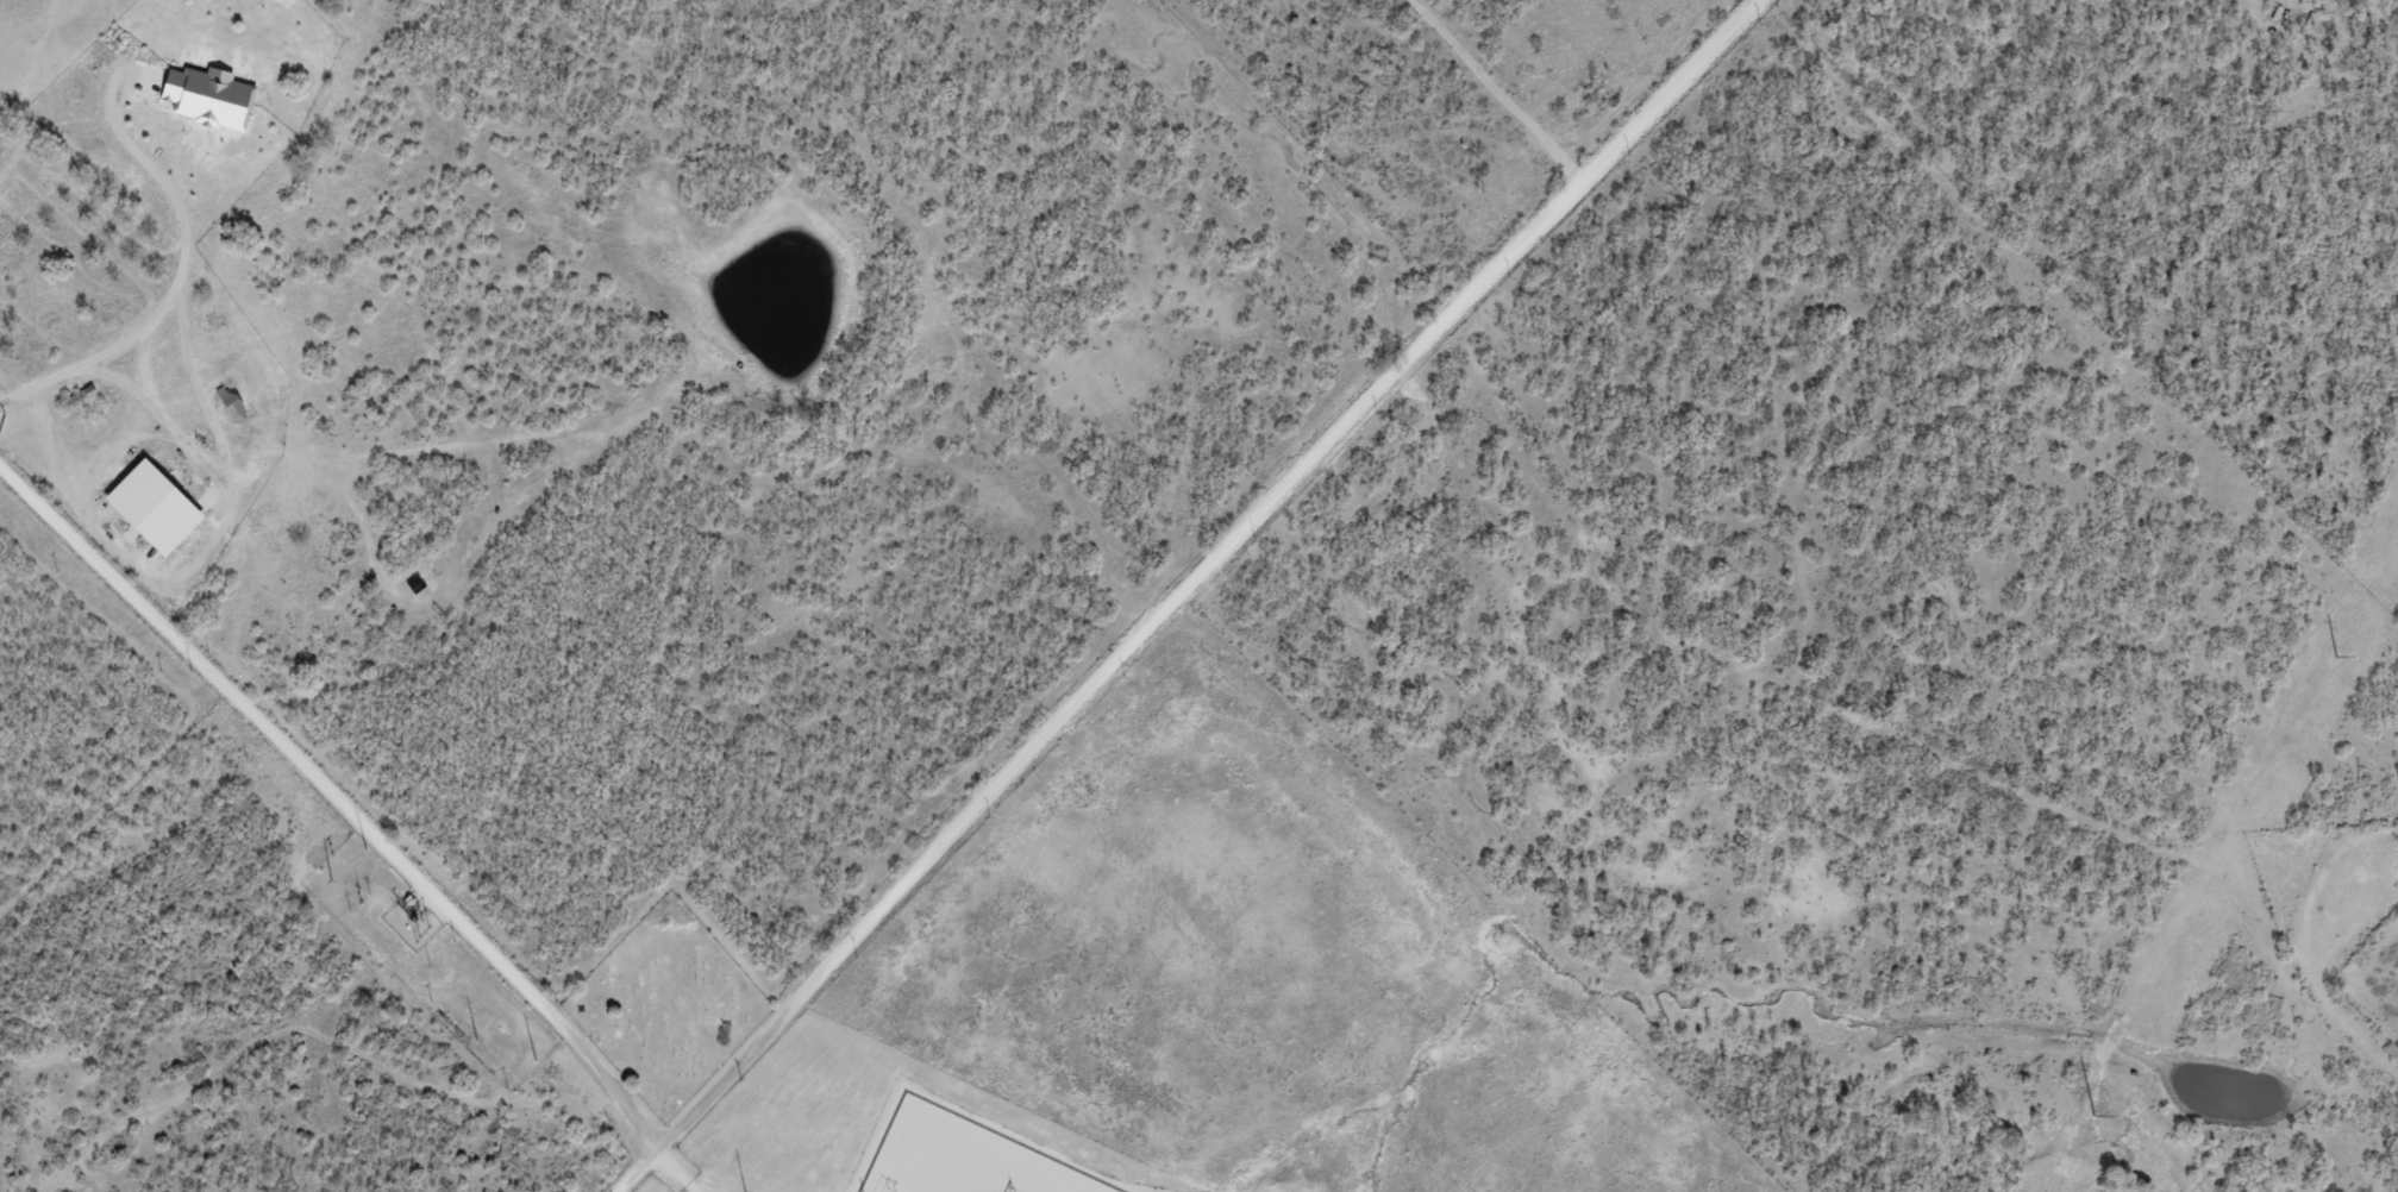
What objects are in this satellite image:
building: (199, 99)
building: (234, 403)
building: (161, 507)
road: (1194, 585)
road: (1786, 691)
road: (332, 809)
road: (331, 884)
power substation: (411, 922)
park: (664, 1009)
power tower: (536, 1060)
power substation: (968, 1158)
power tower: (744, 1191)

